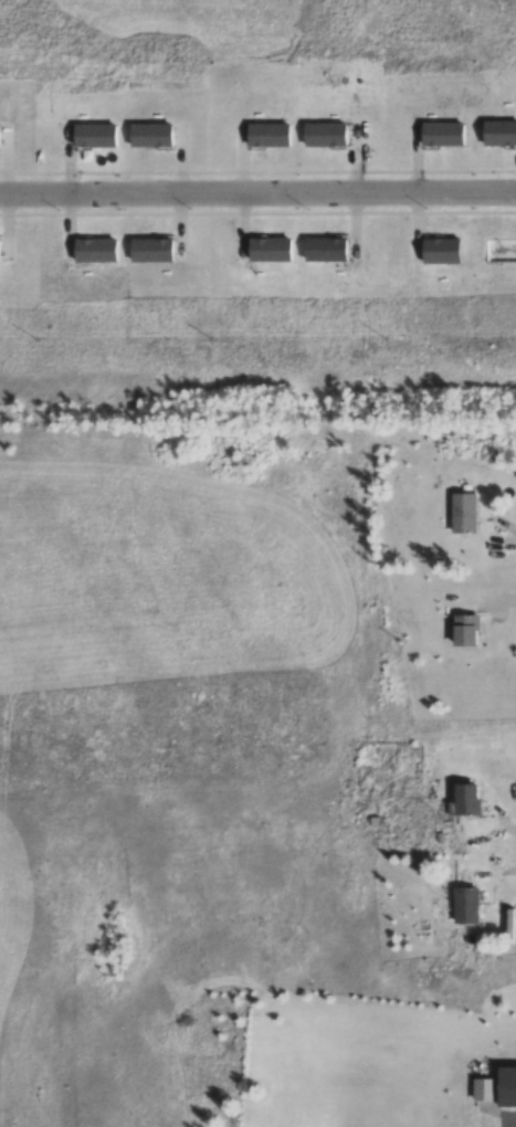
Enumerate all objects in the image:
road: (257, 188)
building: (461, 512)
building: (464, 630)
building: (463, 799)
building: (462, 904)
building: (507, 926)
building: (497, 1086)
road: (496, 1107)

